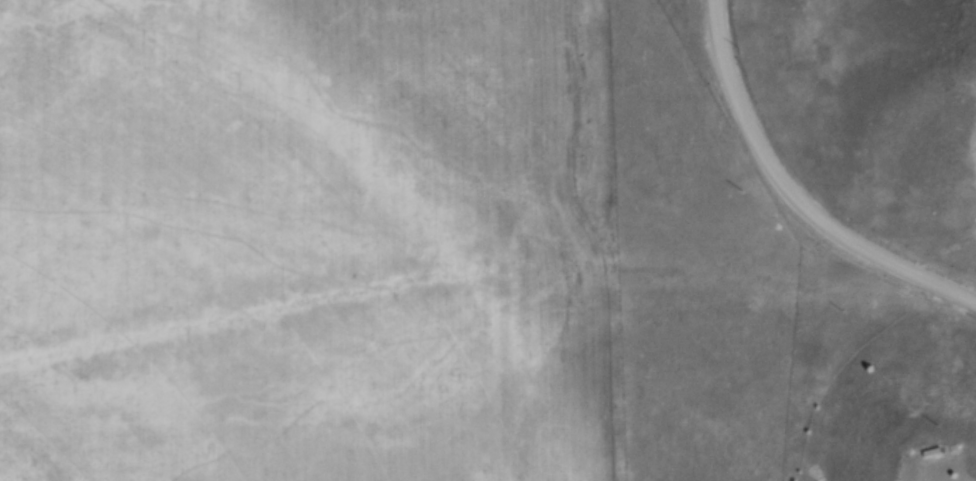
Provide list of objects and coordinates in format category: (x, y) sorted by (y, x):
road: (794, 193)
crop: (280, 232)

